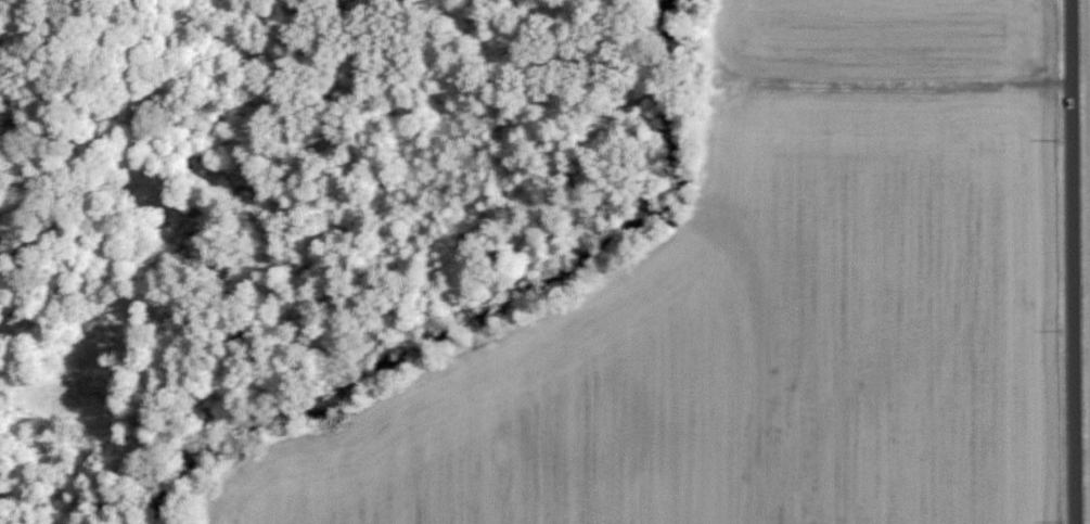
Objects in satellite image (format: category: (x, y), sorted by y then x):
road: (1072, 261)

